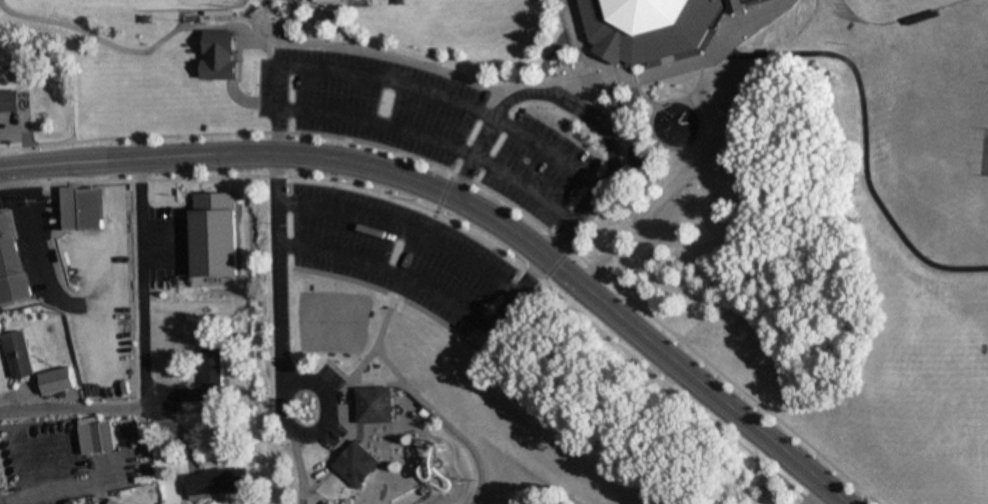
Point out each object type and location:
park: (133, 3)
building: (327, 3)
road: (336, 10)
road: (245, 21)
road: (570, 21)
building: (650, 25)
road: (278, 27)
road: (800, 30)
road: (268, 31)
road: (136, 48)
road: (713, 51)
building: (219, 54)
road: (600, 67)
road: (508, 81)
road: (690, 82)
road: (404, 84)
road: (639, 95)
road: (577, 96)
road: (247, 97)
building: (9, 101)
road: (603, 107)
road: (574, 108)
parking lot: (422, 124)
road: (561, 128)
road: (432, 139)
road: (674, 142)
road: (857, 142)
road: (462, 148)
road: (803, 178)
road: (678, 182)
road: (491, 186)
building: (76, 201)
road: (466, 205)
road: (448, 219)
road: (402, 227)
park: (468, 228)
building: (209, 229)
park: (875, 246)
parking lot: (394, 252)
building: (10, 260)
road: (382, 269)
road: (511, 296)
road: (925, 297)
road: (137, 302)
park: (330, 319)
road: (451, 332)
road: (887, 339)
building: (18, 354)
road: (279, 355)
road: (364, 360)
building: (213, 375)
building: (57, 381)
road: (774, 400)
road: (421, 402)
building: (374, 403)
road: (73, 409)
road: (579, 418)
building: (96, 436)
road: (346, 441)
building: (357, 463)
road: (298, 467)
building: (218, 481)
road: (863, 498)
building: (72, 502)

